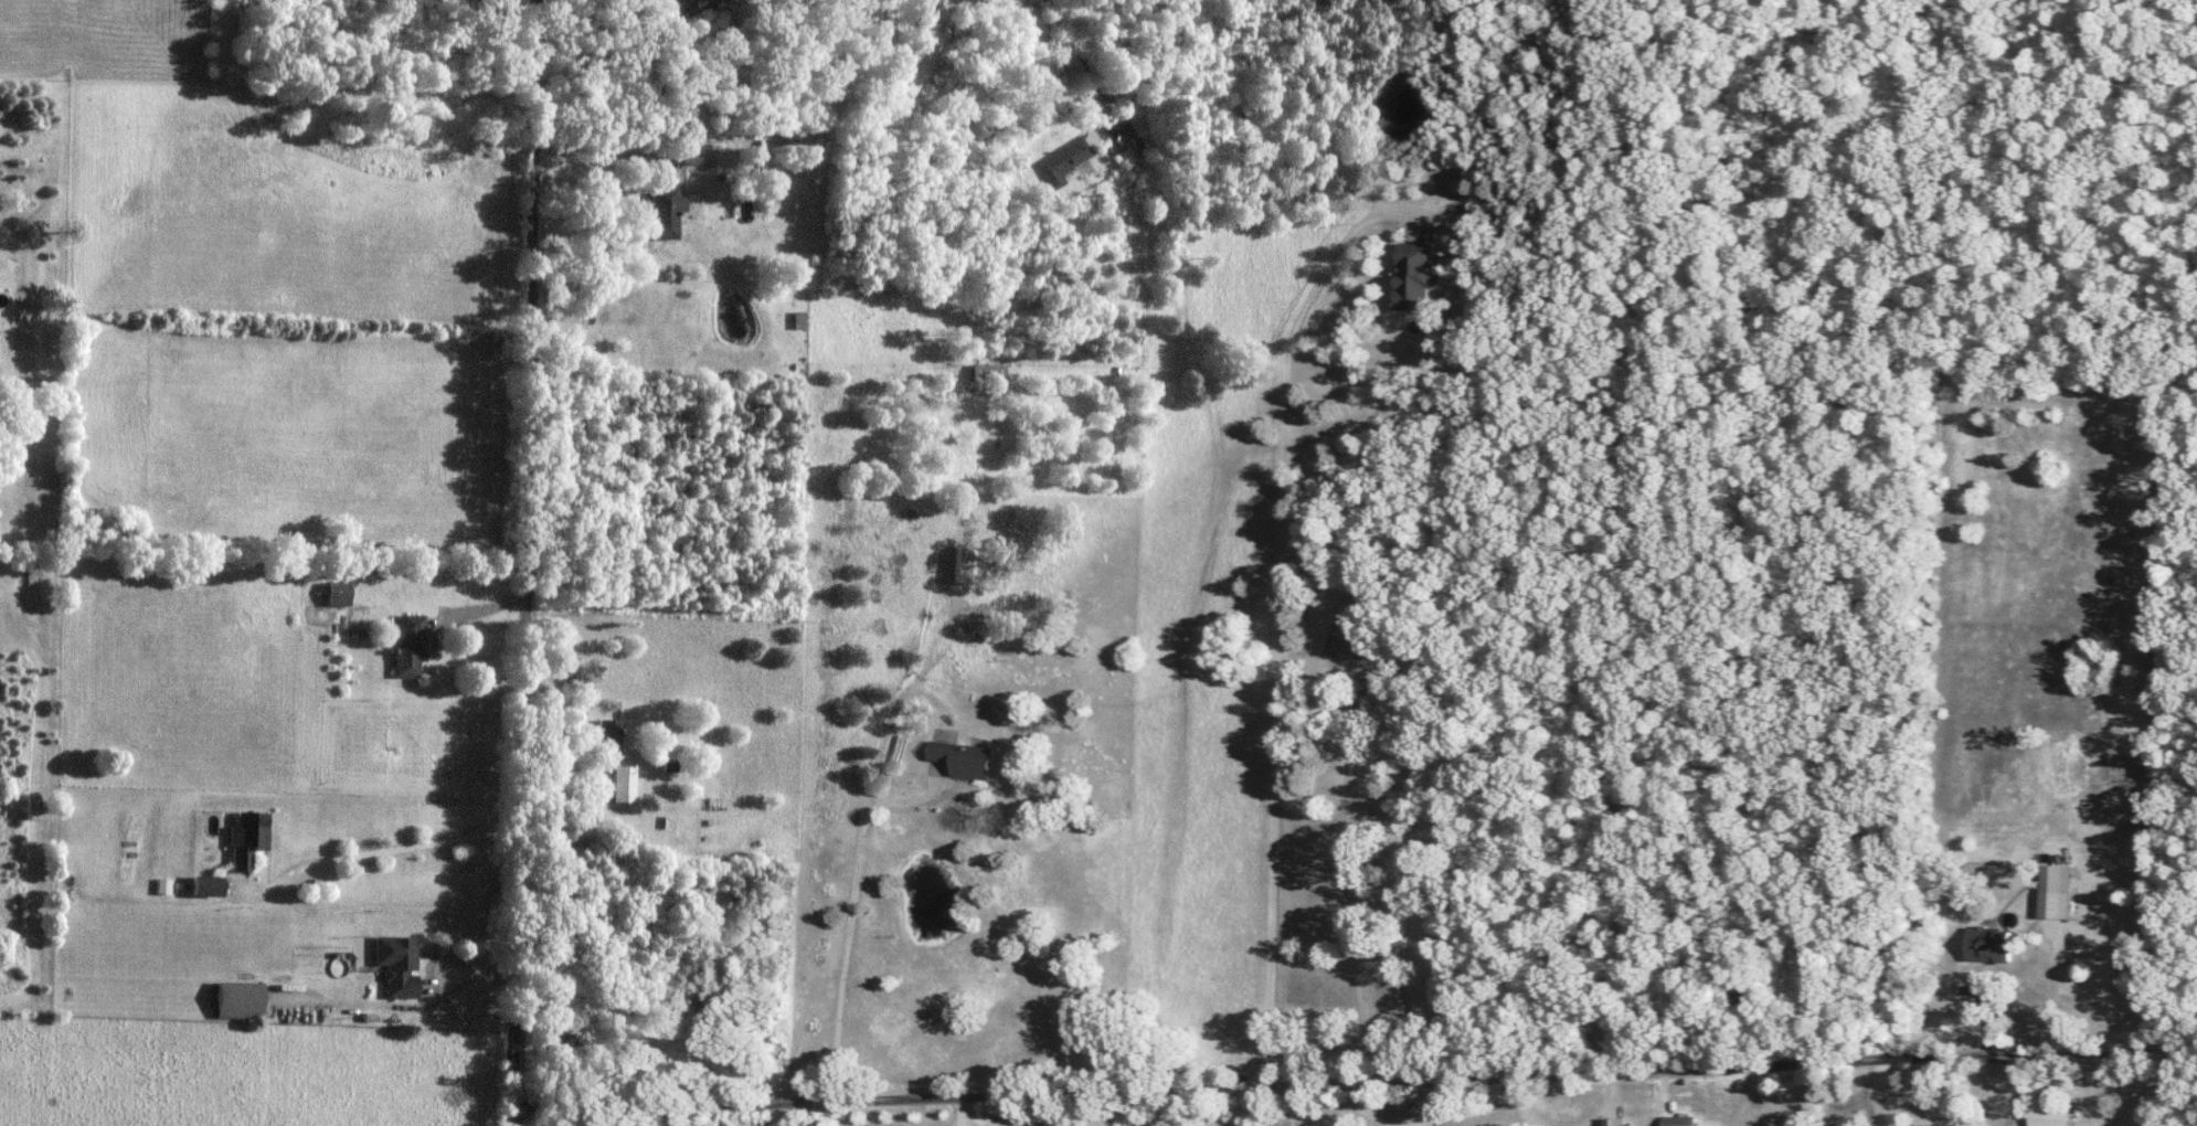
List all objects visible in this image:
building: (689, 2)
building: (913, 64)
road: (1106, 75)
building: (1066, 156)
road: (625, 157)
building: (661, 212)
building: (1418, 275)
building: (796, 319)
building: (984, 372)
road: (531, 563)
building: (963, 564)
building: (337, 593)
road: (480, 608)
road: (1278, 617)
building: (1355, 644)
building: (407, 645)
building: (608, 737)
road: (948, 737)
building: (968, 758)
road: (580, 762)
building: (623, 780)
building: (246, 836)
road: (362, 859)
road: (1356, 882)
building: (205, 885)
building: (2056, 890)
building: (1991, 944)
road: (849, 957)
building: (397, 964)
road: (2056, 992)
building: (237, 999)
building: (569, 1043)
road: (1357, 1086)
road: (1875, 1096)
road: (2004, 1096)
road: (1522, 1106)
road: (1604, 1108)
building: (2050, 1112)
building: (1680, 1120)
building: (1616, 1122)

